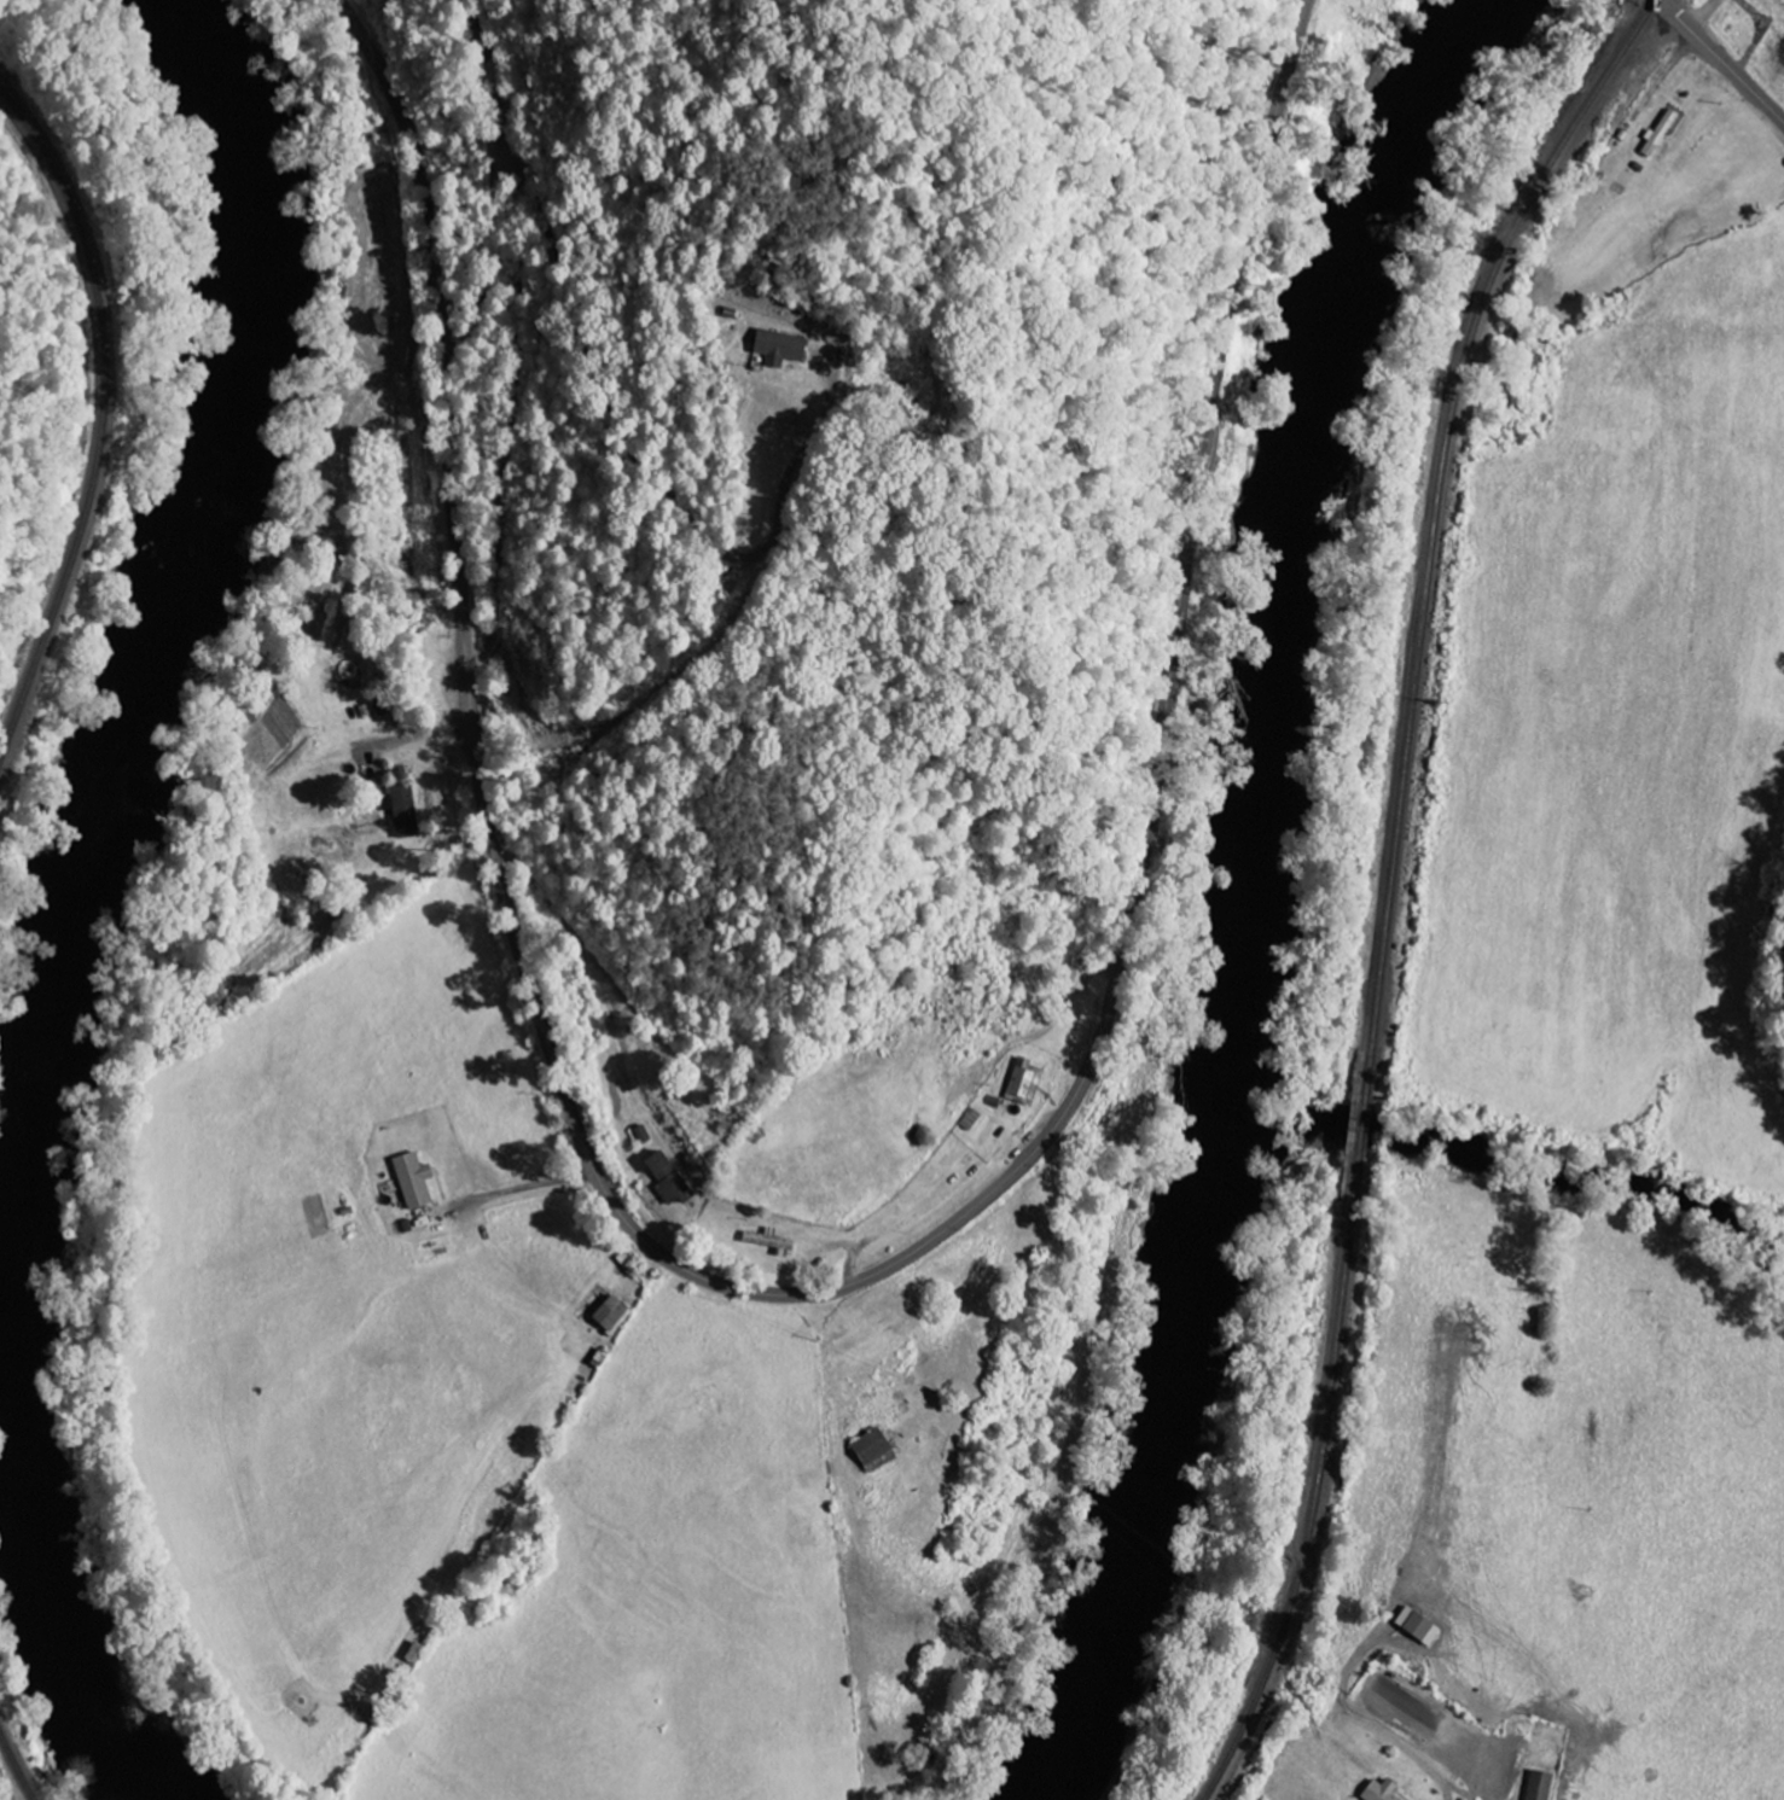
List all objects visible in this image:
road: (1721, 59)
building: (1658, 133)
building: (775, 346)
railway: (103, 416)
railway: (1437, 506)
road: (810, 700)
building: (402, 810)
river: (1227, 893)
river: (75, 911)
building: (1076, 979)
building: (1024, 1082)
railway: (1365, 1130)
building: (664, 1177)
building: (411, 1181)
building: (766, 1240)
road: (803, 1292)
building: (609, 1315)
building: (870, 1451)
railway: (1314, 1509)
building: (1416, 1627)
railway: (17, 1770)
building: (1539, 1786)
building: (1378, 1792)

